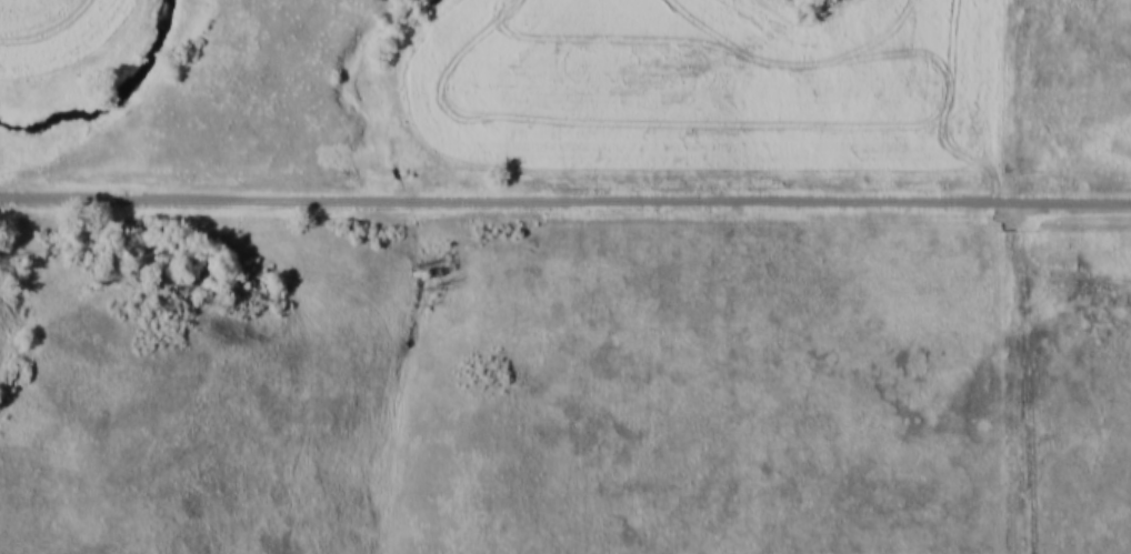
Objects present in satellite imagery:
crop: (52, 29)
crop: (709, 87)
road: (565, 203)
road: (1054, 258)

